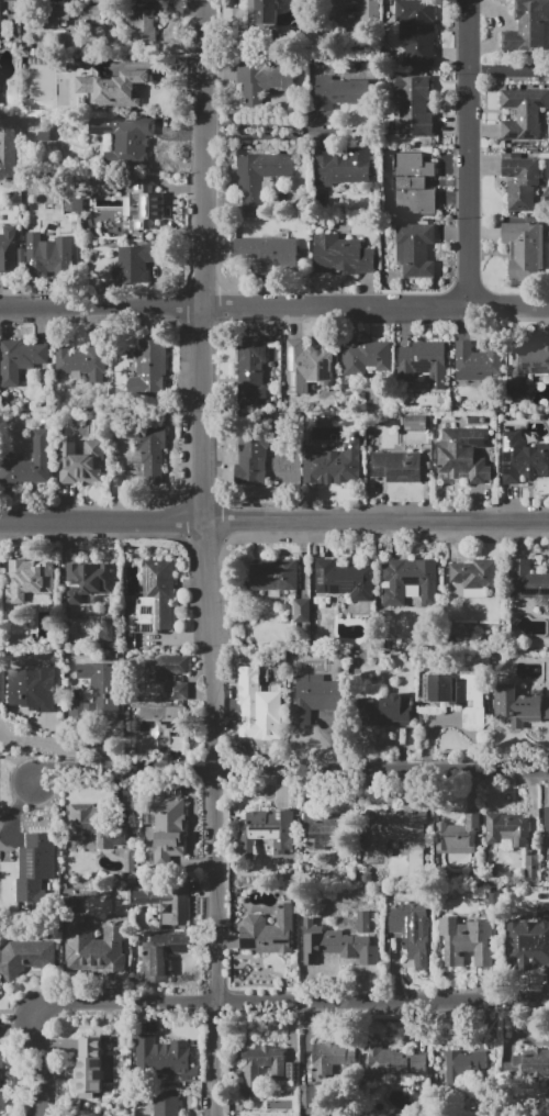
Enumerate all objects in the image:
building: (370, 5)
building: (262, 12)
building: (92, 14)
building: (79, 15)
building: (65, 16)
building: (0, 20)
building: (144, 25)
building: (527, 27)
building: (417, 30)
road: (511, 69)
building: (262, 80)
building: (114, 89)
building: (340, 91)
building: (414, 107)
building: (523, 114)
road: (260, 136)
building: (123, 137)
building: (9, 149)
road: (470, 153)
building: (337, 170)
building: (259, 177)
building: (520, 180)
building: (103, 182)
building: (413, 183)
building: (75, 205)
building: (144, 205)
building: (415, 249)
building: (524, 249)
building: (11, 250)
building: (269, 254)
building: (341, 255)
building: (51, 260)
building: (135, 261)
road: (234, 306)
road: (508, 306)
building: (21, 359)
building: (363, 359)
building: (82, 361)
building: (480, 361)
building: (424, 362)
building: (307, 366)
building: (527, 366)
building: (152, 369)
building: (251, 370)
building: (150, 451)
building: (463, 456)
building: (251, 458)
building: (520, 458)
building: (30, 461)
building: (81, 462)
building: (333, 464)
building: (397, 467)
road: (274, 522)
road: (208, 558)
building: (474, 573)
building: (272, 574)
building: (344, 579)
building: (26, 580)
building: (88, 580)
building: (527, 580)
building: (410, 581)
building: (155, 598)
building: (300, 611)
building: (105, 628)
building: (166, 668)
building: (32, 689)
building: (178, 691)
building: (97, 693)
building: (458, 695)
building: (314, 696)
building: (253, 703)
building: (516, 706)
building: (383, 711)
building: (164, 729)
road: (291, 778)
road: (16, 805)
building: (548, 824)
building: (93, 826)
building: (323, 828)
building: (394, 828)
building: (505, 828)
building: (169, 829)
building: (268, 830)
building: (458, 836)
building: (128, 862)
building: (531, 867)
building: (31, 869)
building: (544, 872)
building: (495, 895)
building: (166, 902)
building: (363, 922)
building: (268, 931)
building: (412, 934)
building: (529, 941)
building: (467, 942)
building: (336, 944)
building: (94, 947)
building: (161, 955)
building: (25, 956)
building: (0, 989)
building: (0, 991)
road: (239, 1001)
building: (330, 1058)
building: (2, 1059)
building: (166, 1060)
building: (392, 1064)
building: (462, 1067)
building: (529, 1068)
building: (292, 1071)
building: (92, 1073)
building: (251, 1074)
building: (306, 1096)
building: (3, 1101)
building: (167, 1106)

